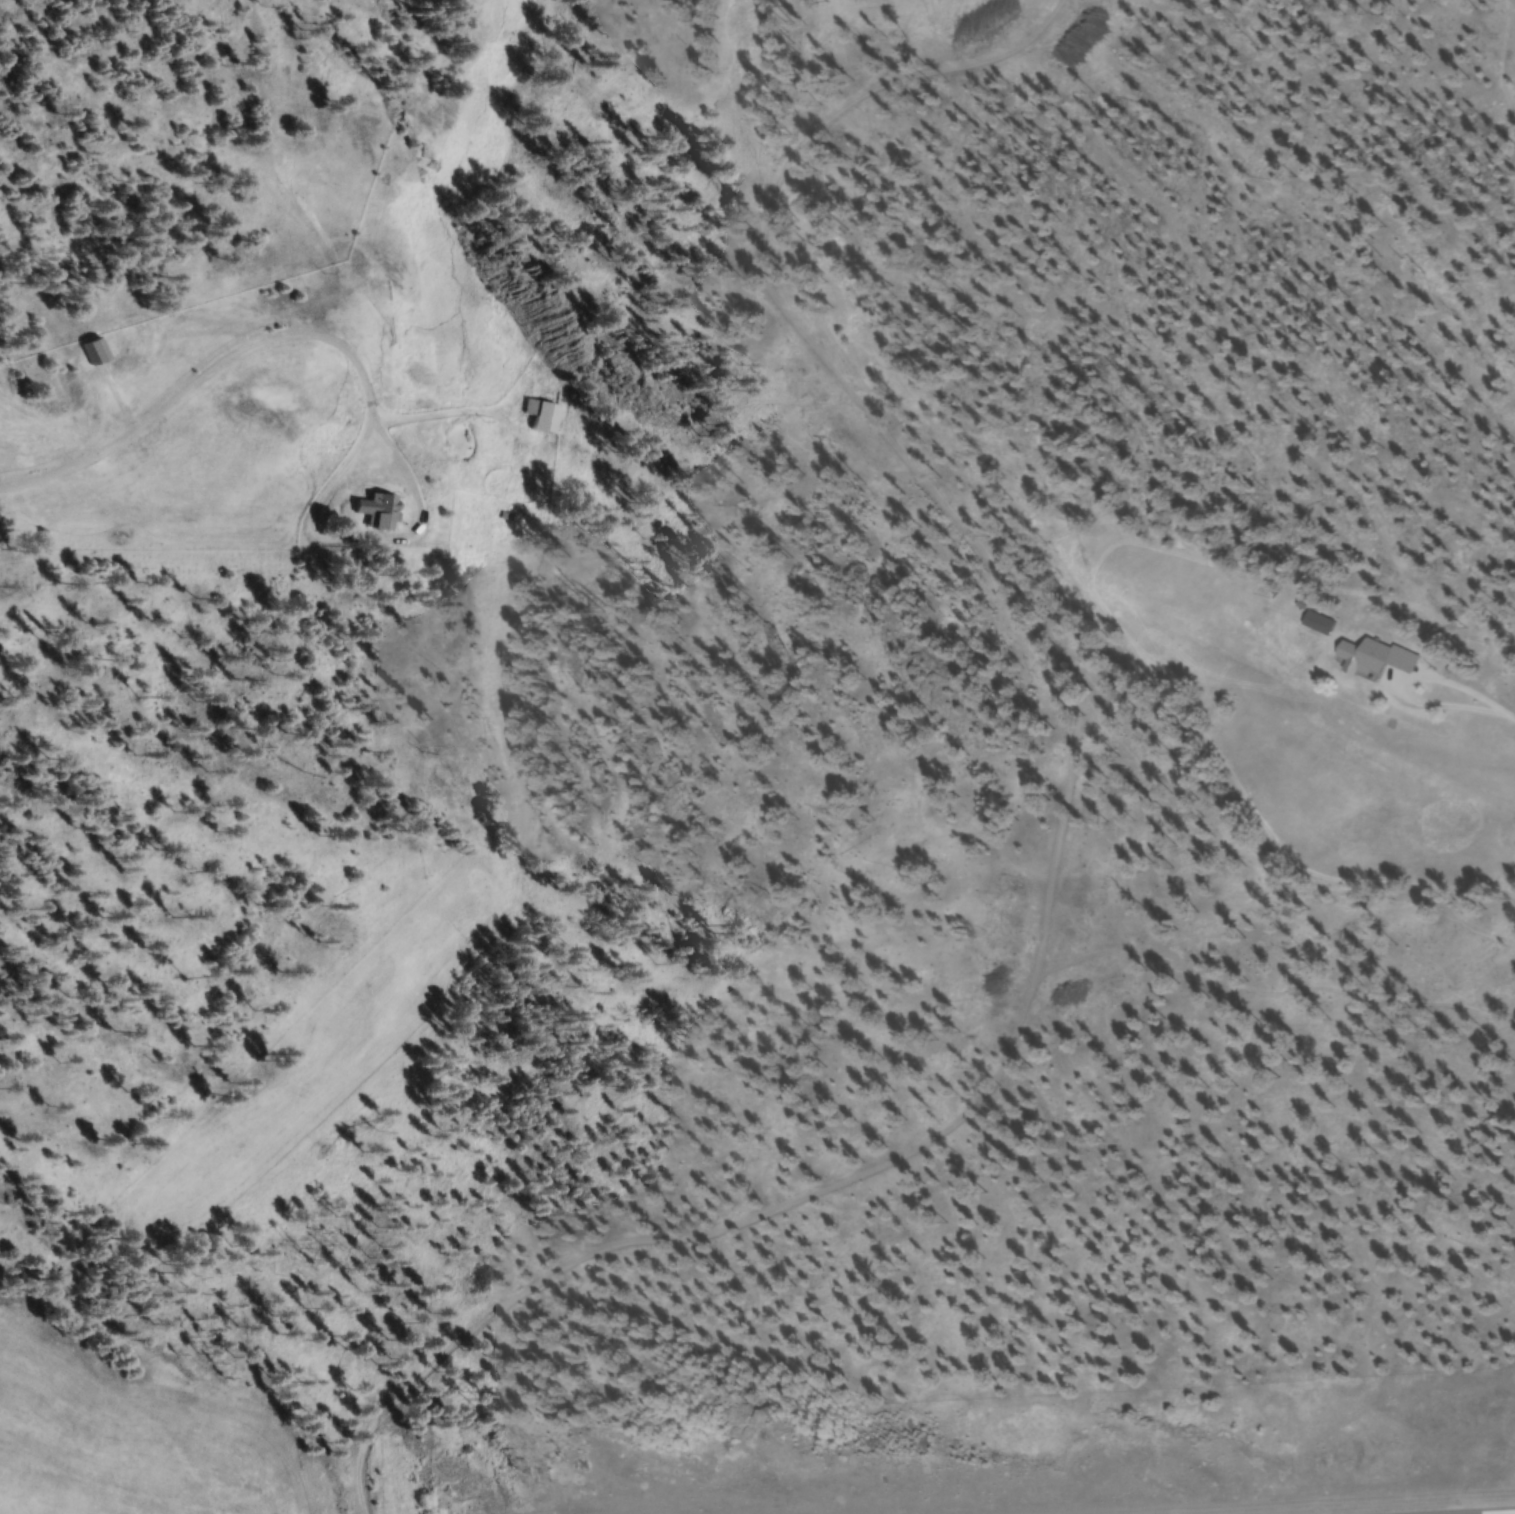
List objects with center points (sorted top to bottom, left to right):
building: (98, 354)
building: (544, 420)
building: (378, 513)
building: (1376, 659)
road: (1056, 818)
airport: (1092, 1454)

